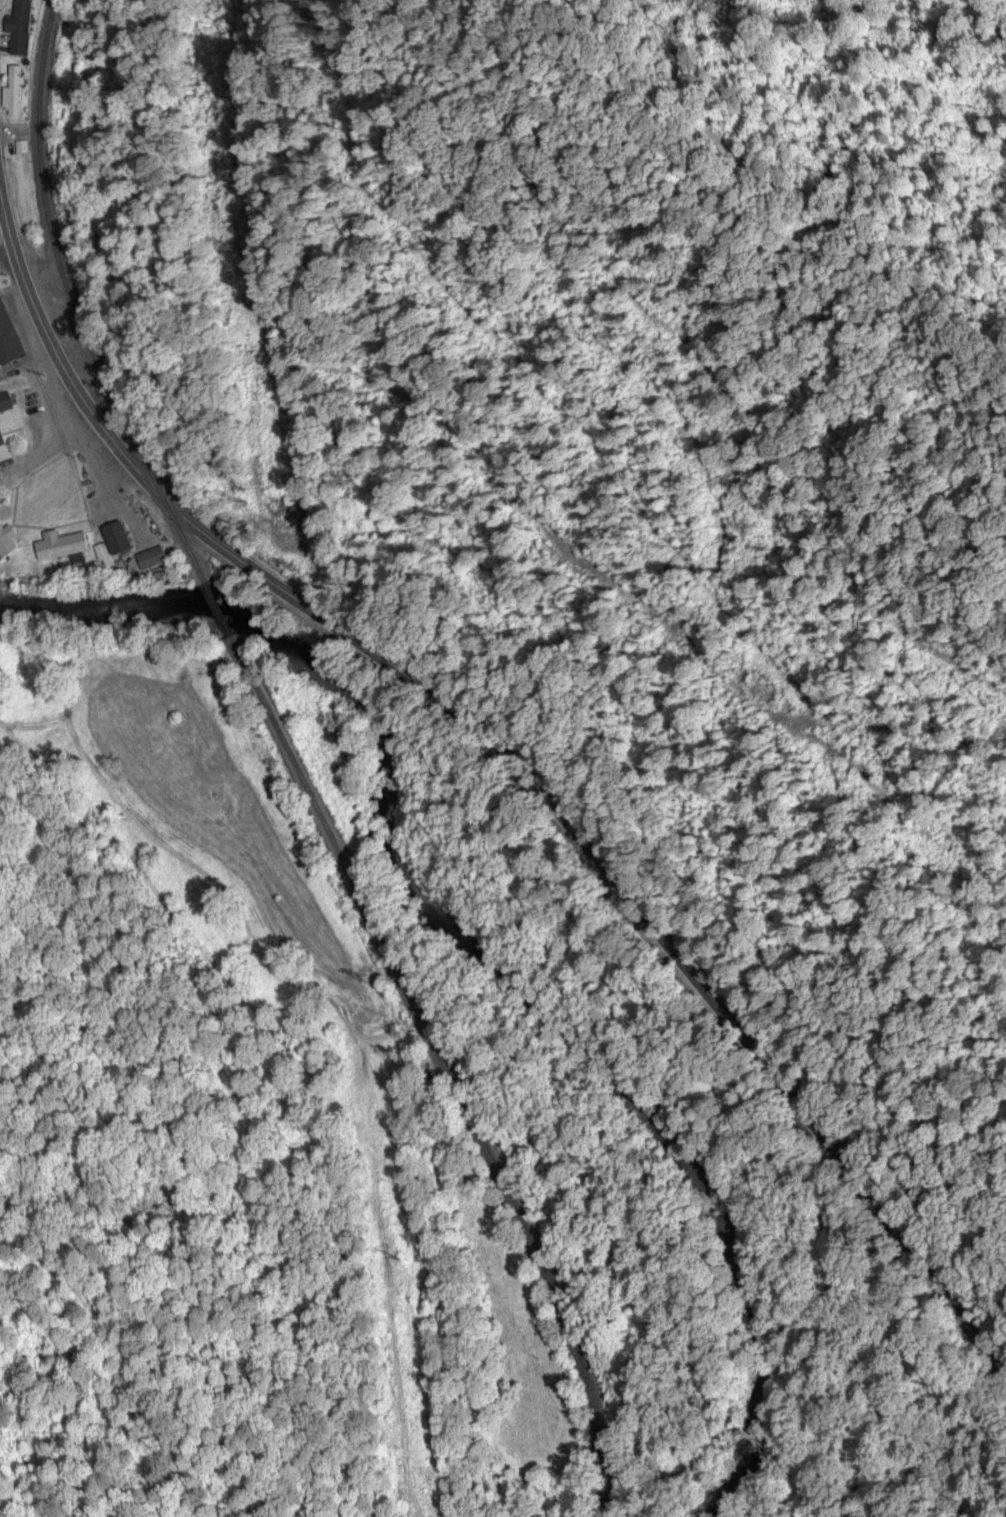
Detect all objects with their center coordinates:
building: (18, 26)
power tower: (207, 68)
power tower: (232, 249)
building: (8, 339)
building: (5, 401)
building: (1, 438)
building: (116, 537)
building: (6, 539)
building: (62, 545)
building: (102, 554)
building: (150, 557)
power tower: (296, 571)
railway: (290, 766)
road: (506, 767)
river: (461, 954)
power tower: (368, 979)
power tower: (399, 1250)

